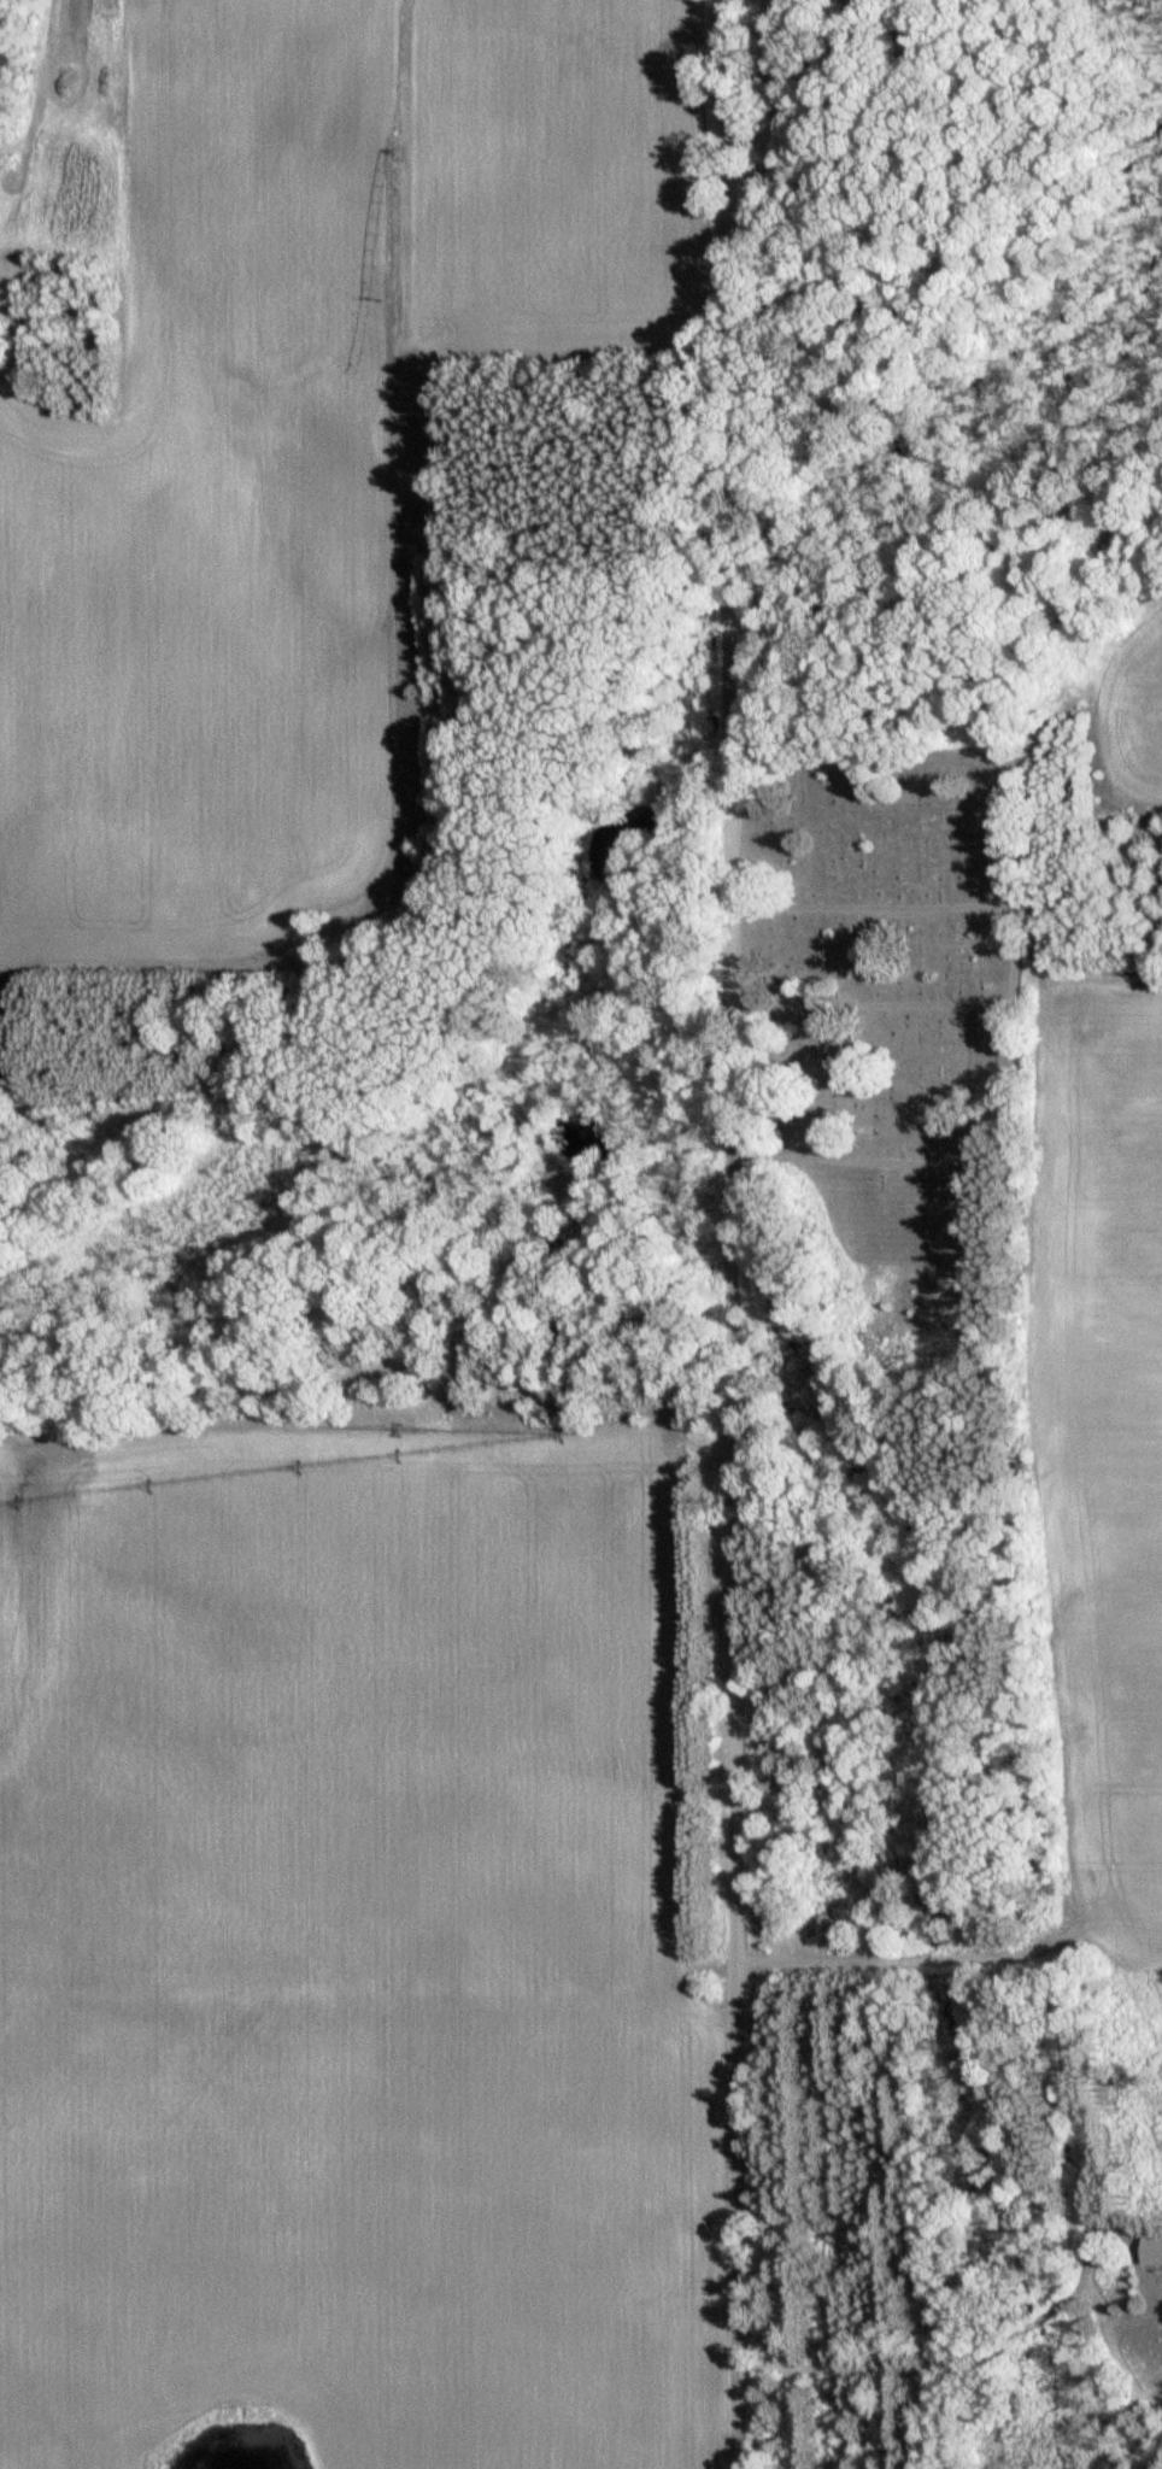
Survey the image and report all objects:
road: (927, 800)
road: (919, 895)
road: (934, 998)
park: (886, 1042)
road: (879, 1154)
road: (734, 1233)
building: (1086, 2159)
building: (1152, 2251)

